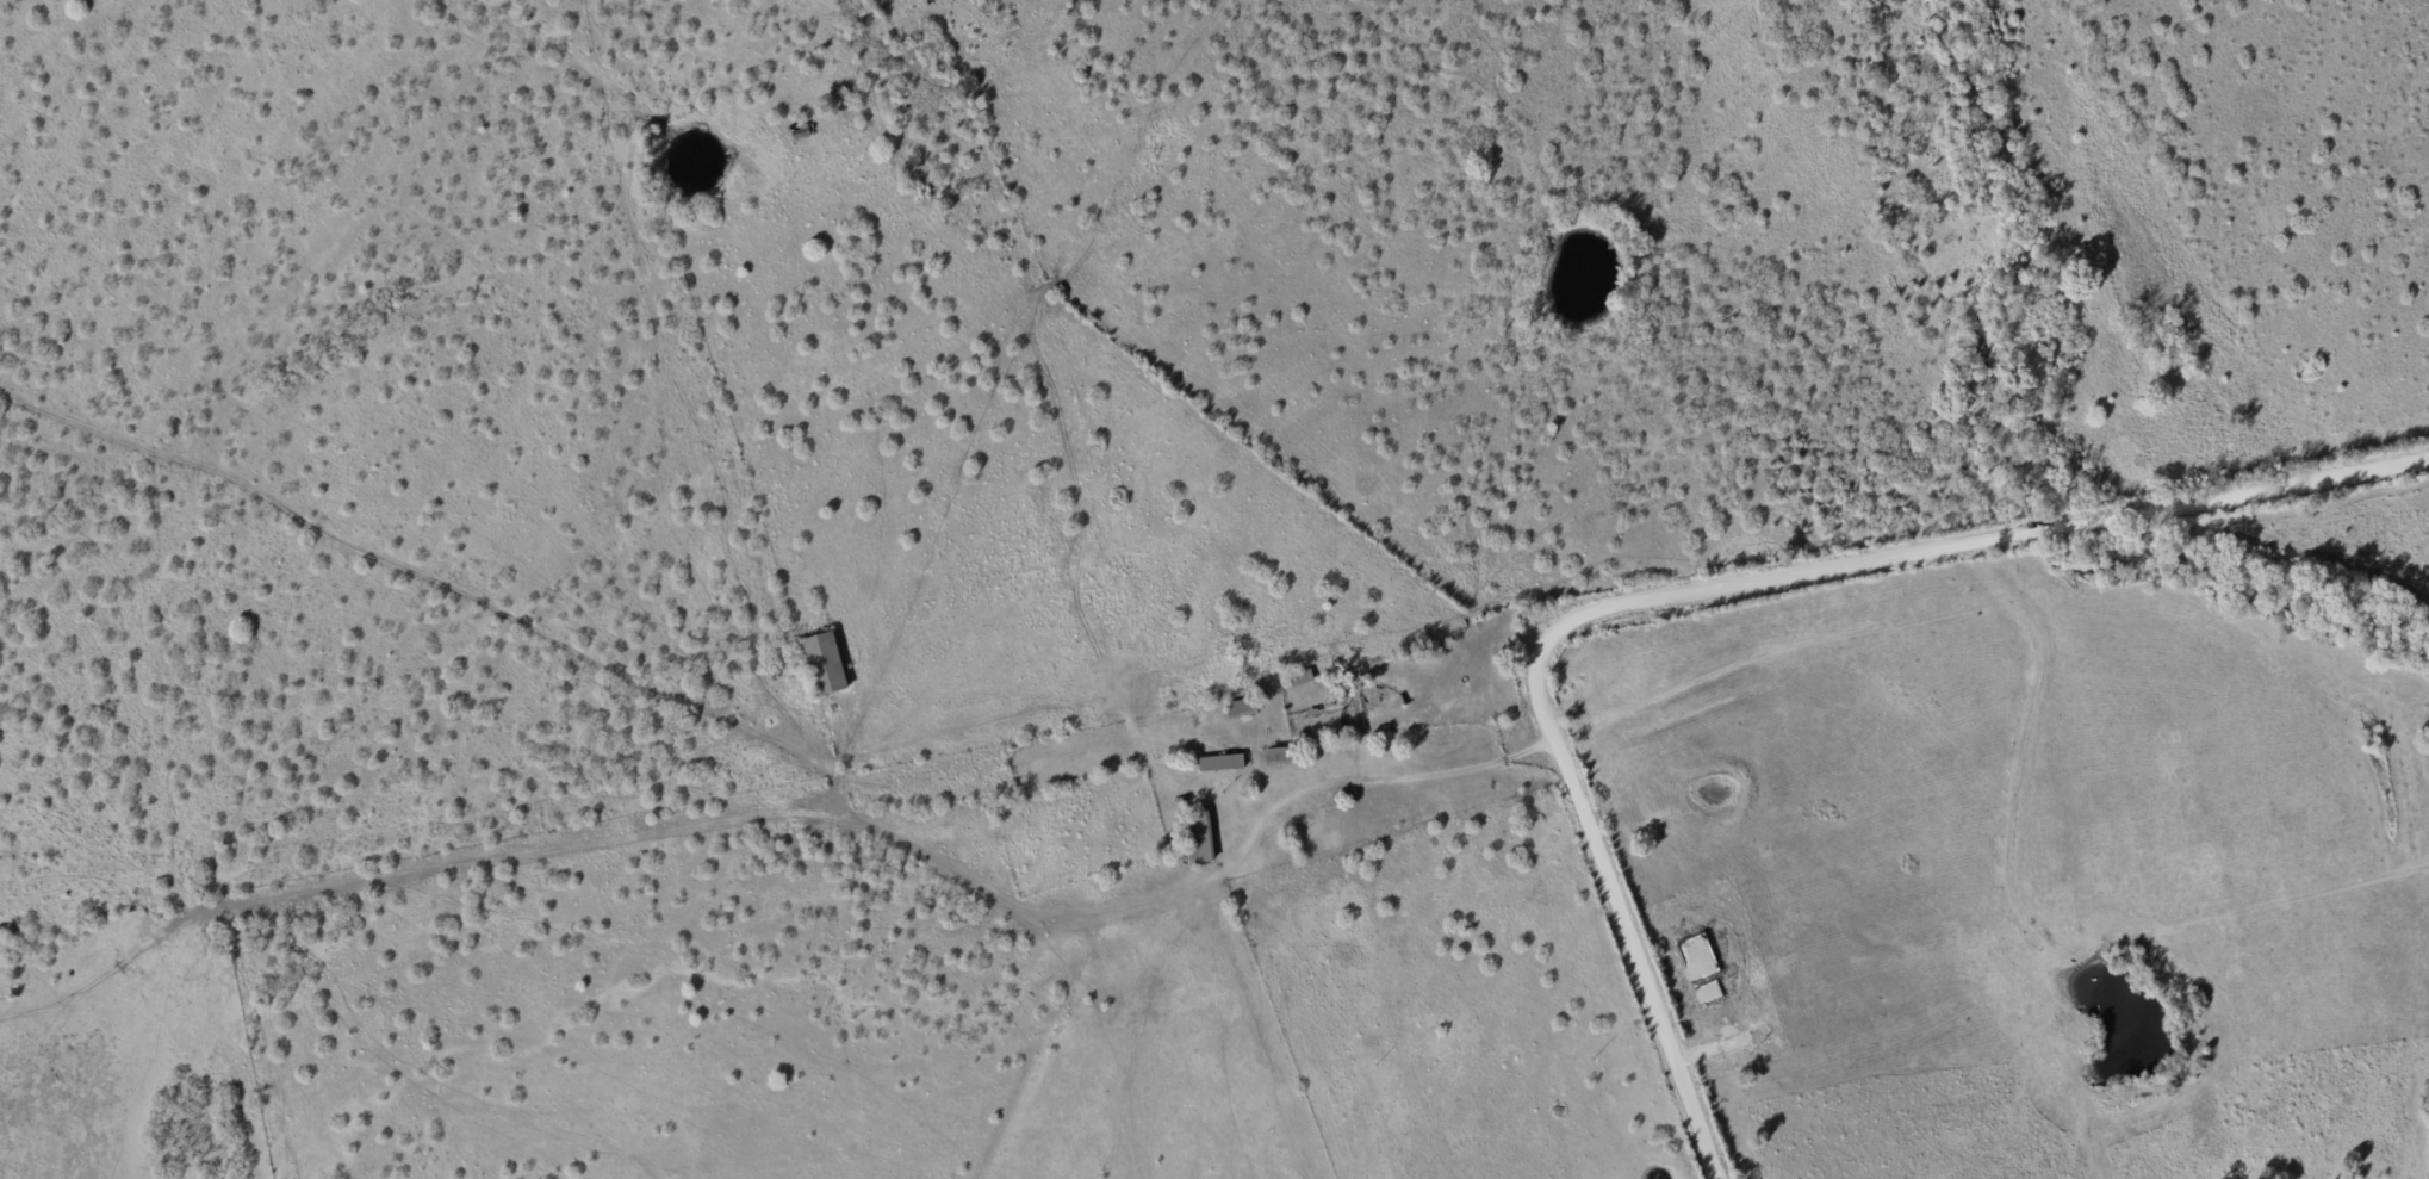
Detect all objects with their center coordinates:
road: (1706, 596)
building: (1280, 757)
building: (1223, 763)
road: (1402, 775)
building: (1200, 838)

